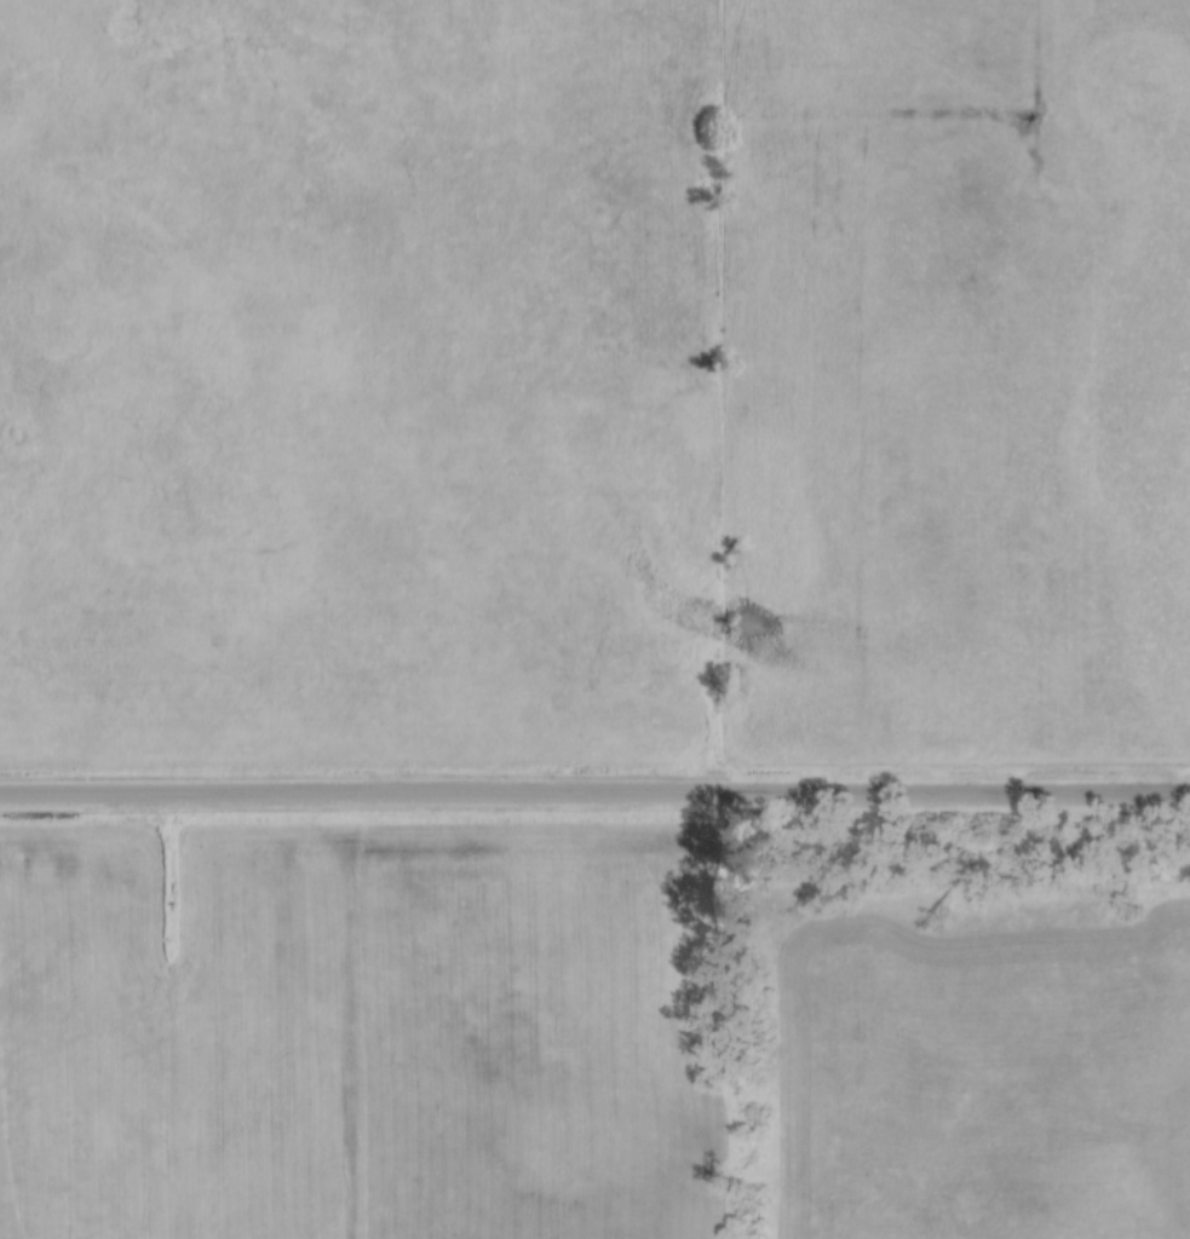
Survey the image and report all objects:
road: (594, 791)

